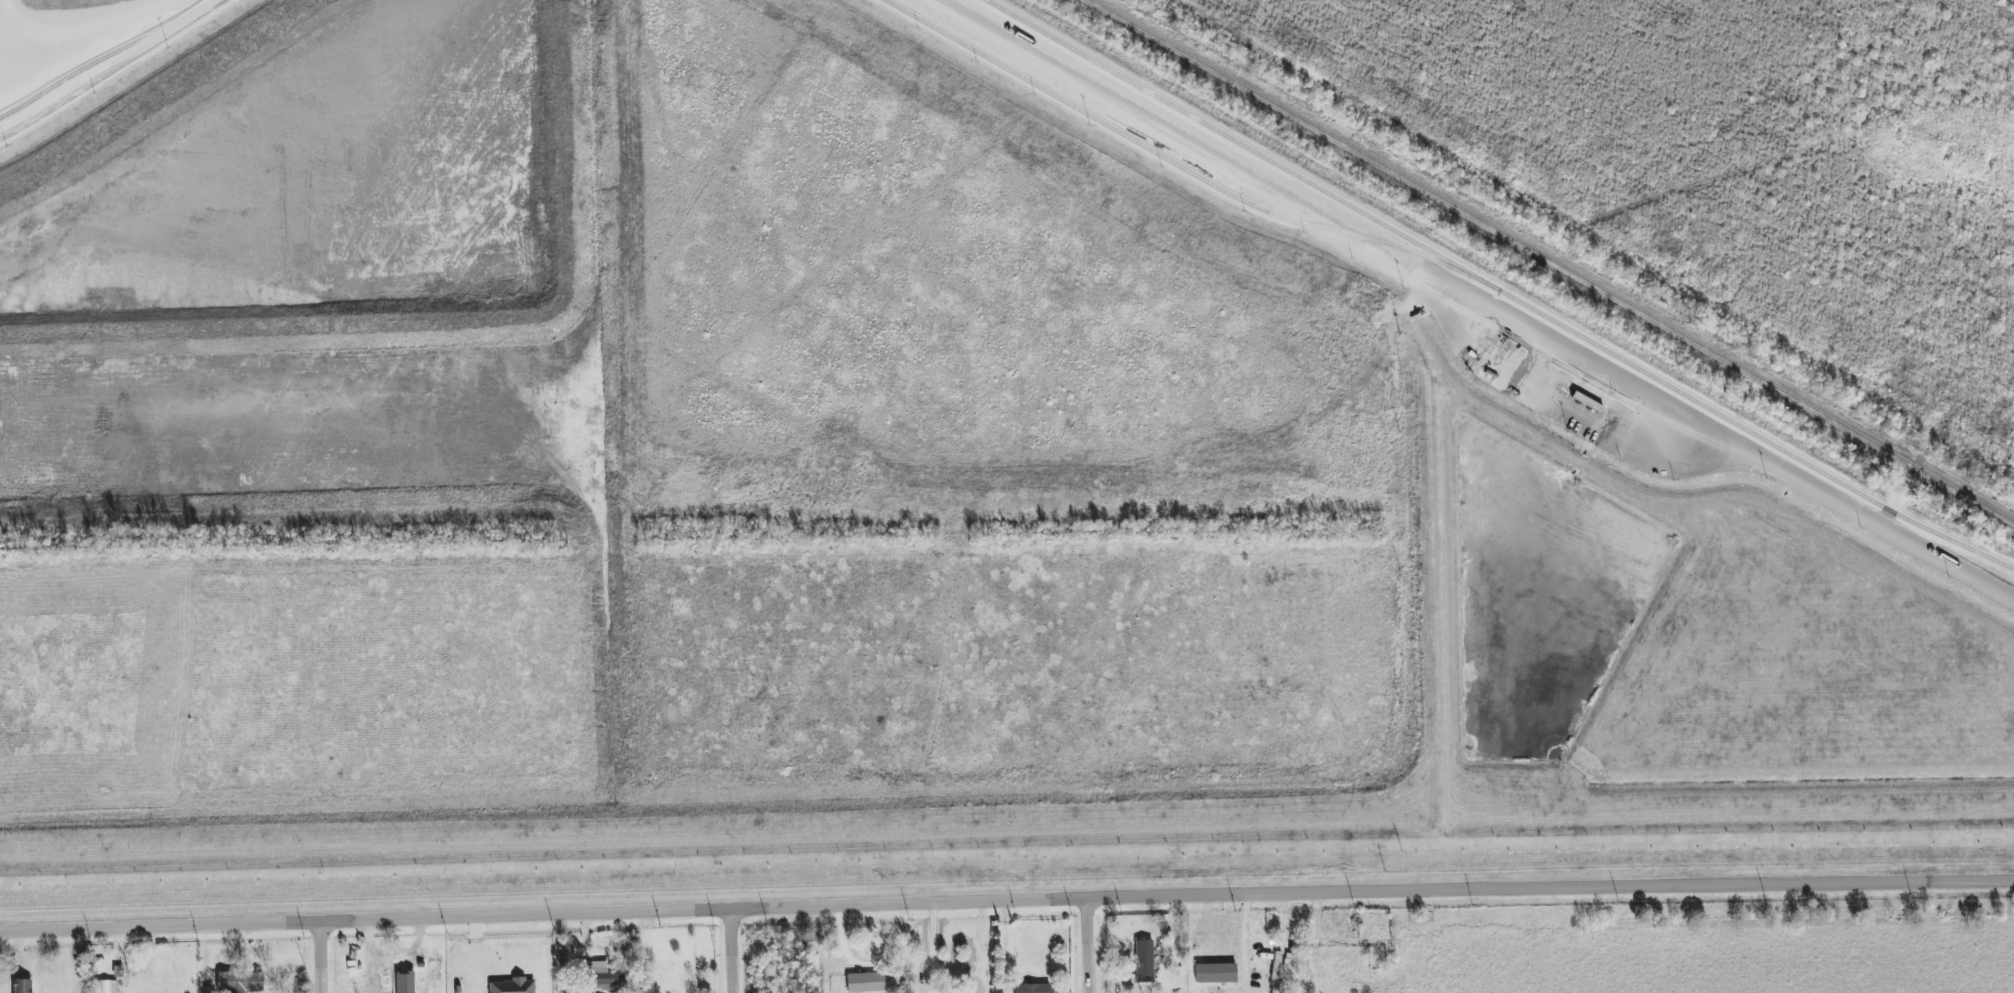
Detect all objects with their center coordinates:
railway: (1554, 259)
road: (1476, 298)
road: (1006, 895)
road: (1092, 943)
road: (932, 946)
road: (739, 948)
road: (326, 955)
building: (1144, 961)
building: (600, 974)
building: (239, 982)
building: (864, 982)
building: (396, 983)
building: (21, 986)
building: (512, 986)
building: (109, 987)
building: (1032, 988)

